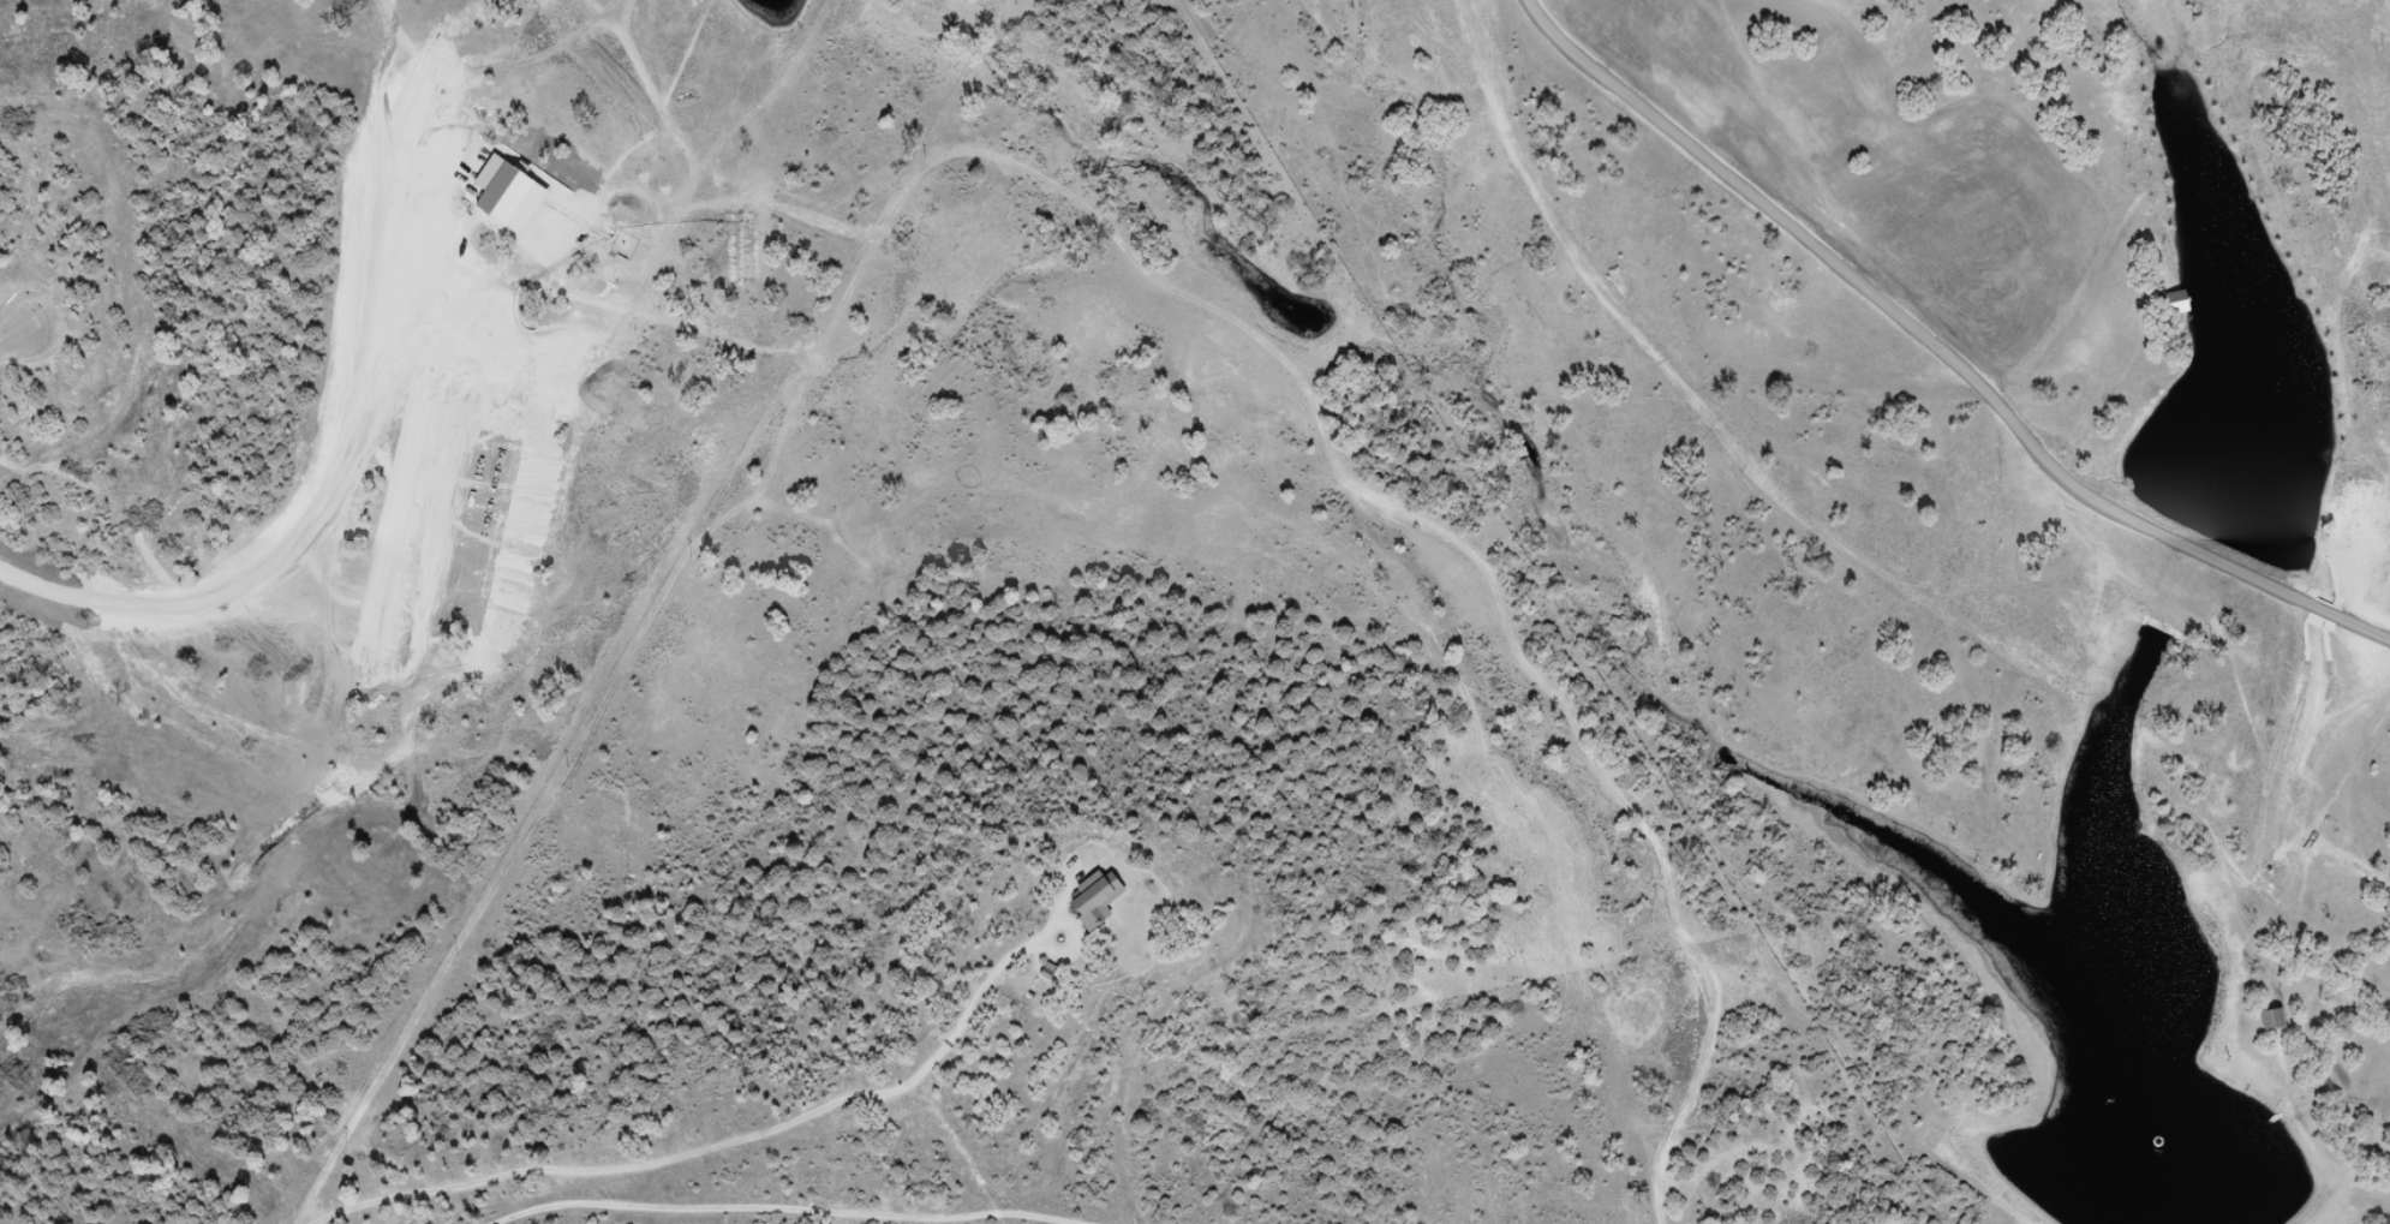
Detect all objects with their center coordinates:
road: (14, 334)
road: (1279, 405)
road: (1833, 547)
road: (711, 1147)
road: (790, 1207)

